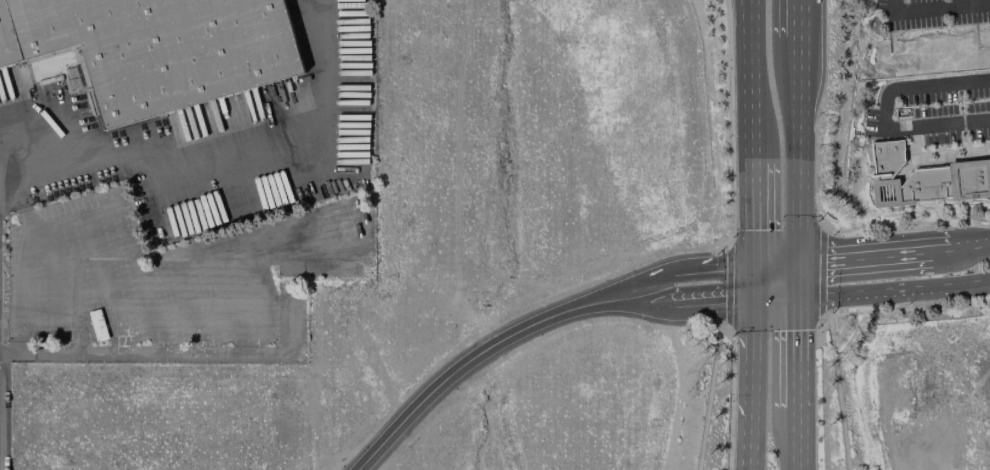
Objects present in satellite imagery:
road: (935, 8)
parking lot: (932, 13)
road: (794, 19)
road: (801, 19)
road: (748, 34)
building: (157, 48)
road: (756, 82)
road: (885, 113)
road: (962, 116)
parking lot: (934, 117)
road: (914, 141)
road: (977, 148)
road: (793, 149)
road: (225, 151)
road: (926, 153)
building: (925, 179)
road: (755, 213)
road: (905, 227)
road: (969, 246)
road: (940, 249)
road: (862, 255)
road: (774, 261)
road: (734, 265)
road: (822, 272)
road: (665, 277)
road: (793, 279)
road: (755, 282)
road: (726, 285)
road: (963, 285)
road: (845, 294)
road: (687, 305)
road: (754, 320)
building: (97, 325)
road: (793, 352)
road: (472, 358)
road: (837, 389)
road: (709, 397)
road: (753, 405)
road: (794, 438)

